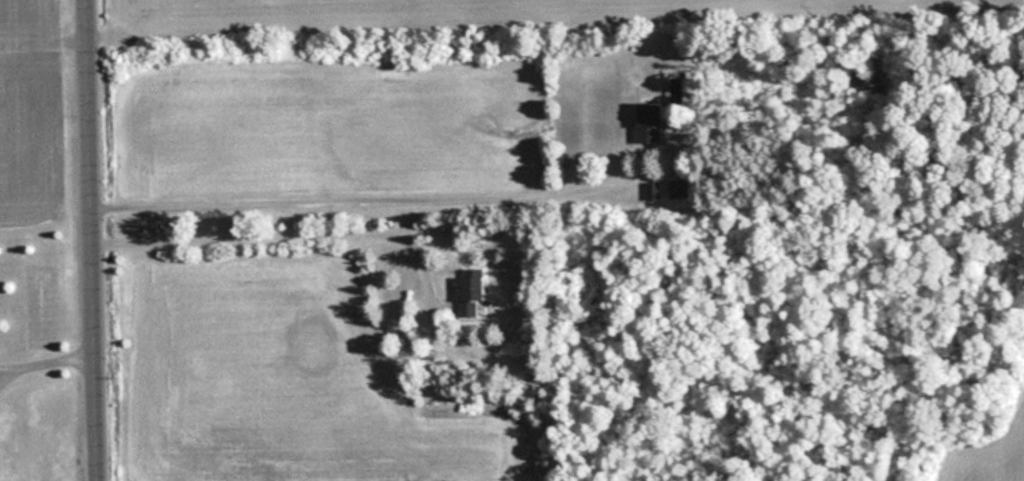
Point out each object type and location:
building: (677, 84)
building: (651, 123)
building: (680, 188)
building: (654, 190)
road: (360, 197)
road: (280, 230)
road: (97, 240)
building: (473, 293)
road: (49, 363)

